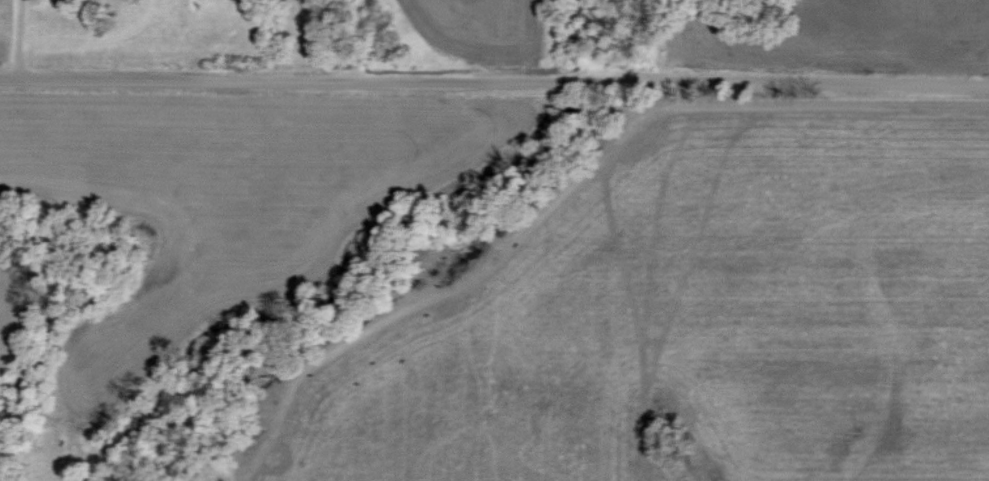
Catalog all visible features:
road: (15, 39)
road: (494, 81)

